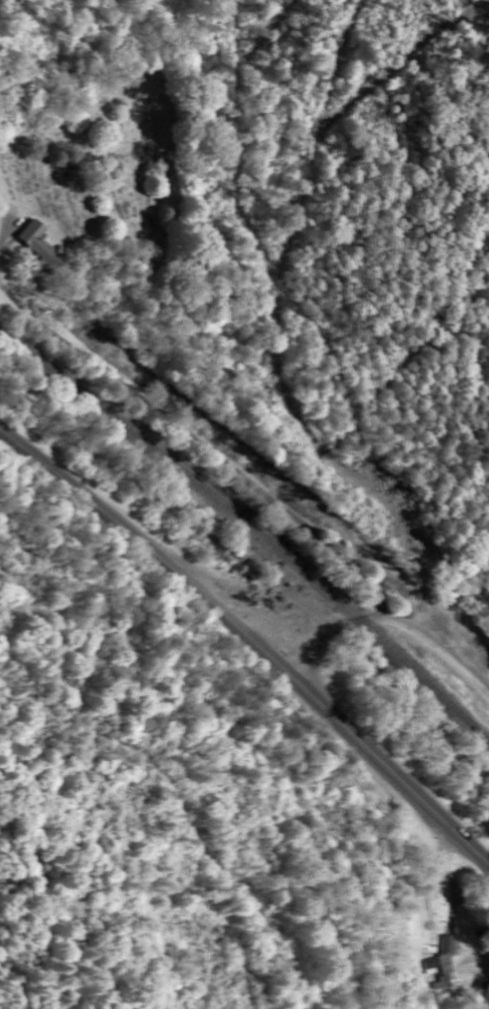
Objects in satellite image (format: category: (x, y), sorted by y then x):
building: (40, 244)
road: (199, 444)
railway: (254, 527)
road: (390, 619)
road: (252, 637)
building: (448, 964)

